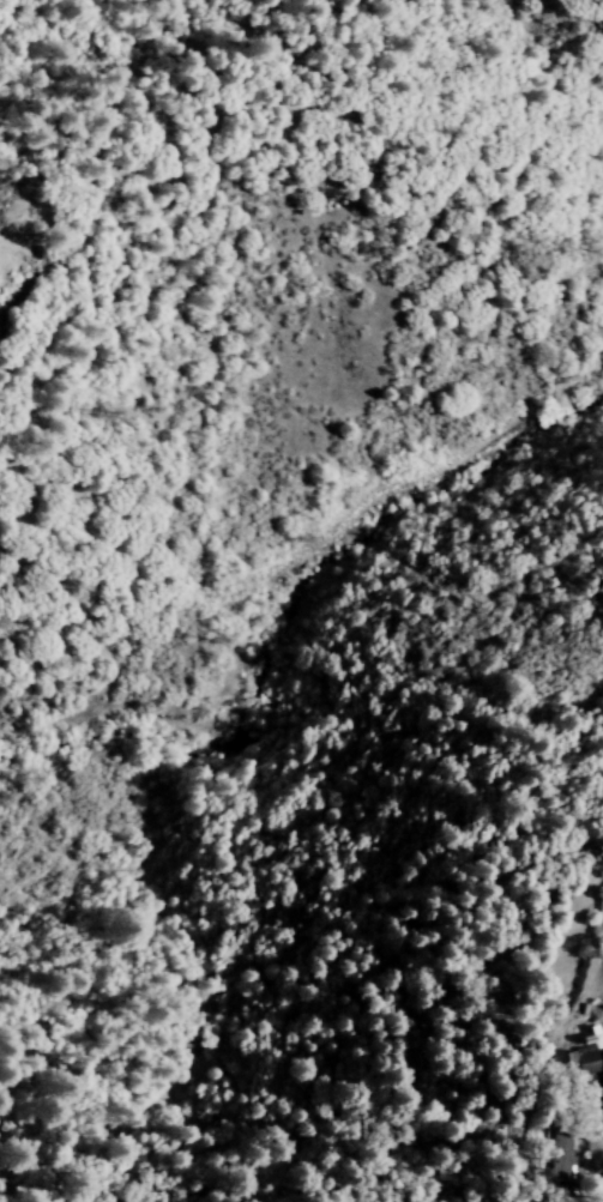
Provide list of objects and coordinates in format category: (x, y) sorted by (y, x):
building: (586, 1061)
road: (598, 1095)
building: (561, 1156)

